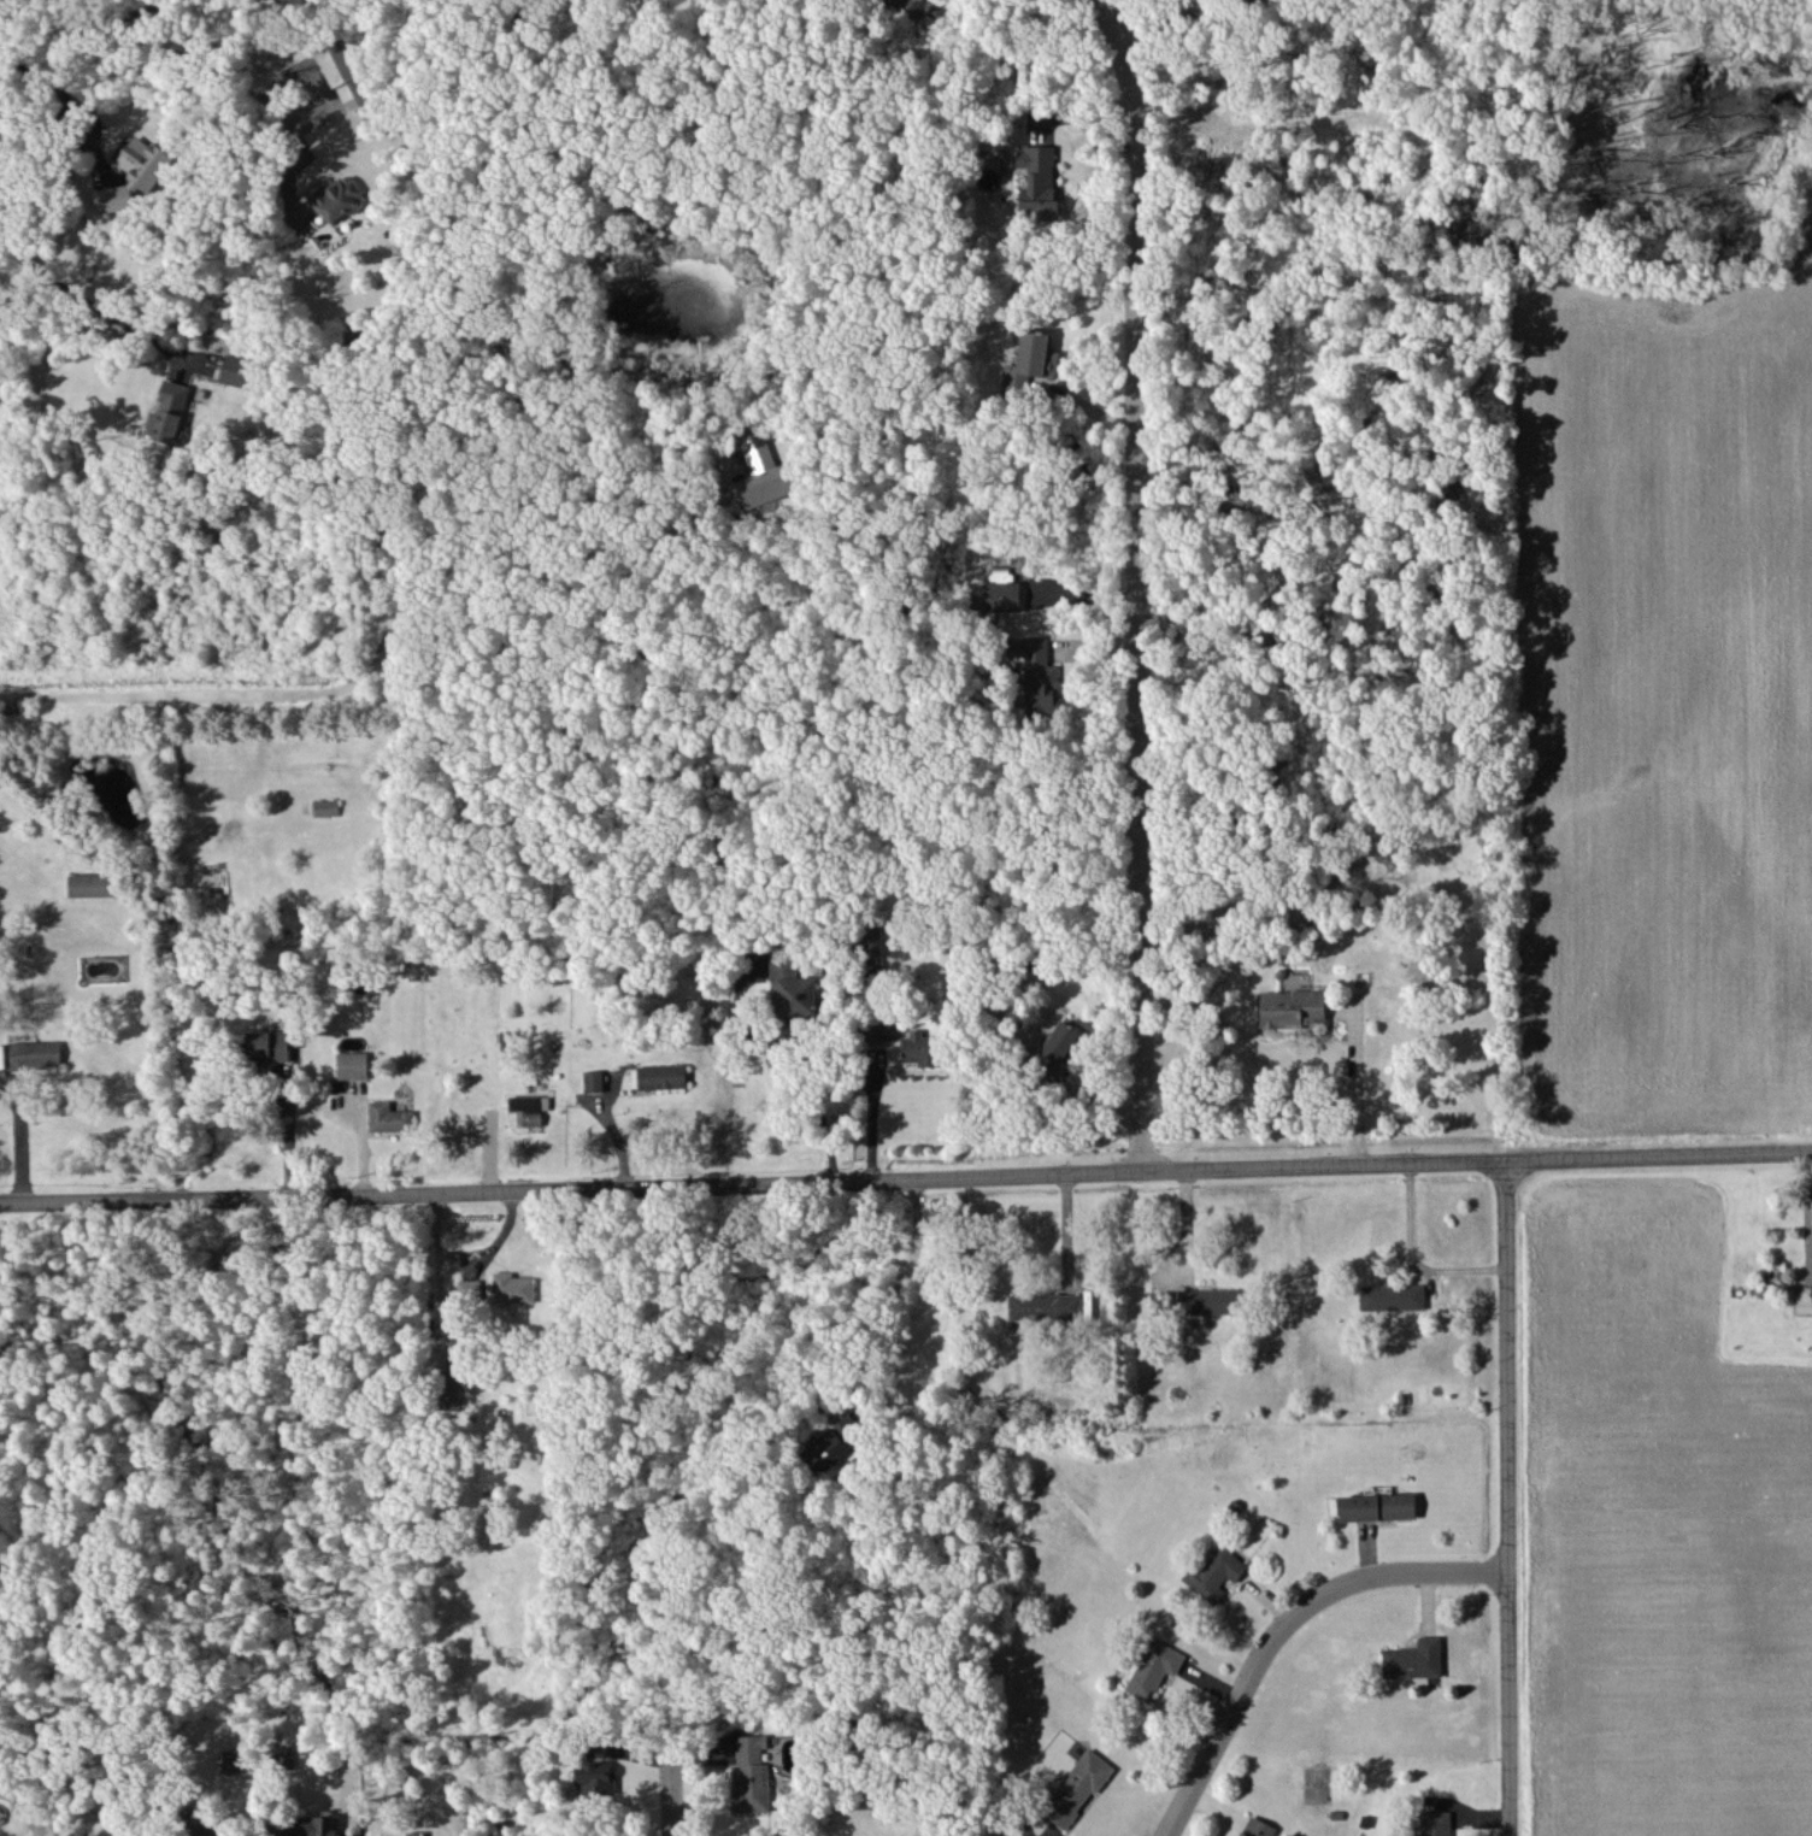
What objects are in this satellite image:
building: (287, 2)
building: (912, 7)
road: (1181, 19)
road: (86, 25)
road: (235, 66)
building: (343, 75)
road: (57, 98)
building: (135, 173)
building: (1037, 182)
building: (337, 198)
road: (86, 306)
building: (1031, 360)
building: (240, 371)
building: (171, 413)
building: (764, 473)
road: (1125, 583)
building: (1002, 596)
building: (1036, 672)
road: (353, 683)
building: (325, 807)
building: (94, 884)
building: (869, 947)
building: (792, 989)
building: (1293, 1007)
building: (878, 1030)
building: (266, 1044)
building: (1058, 1047)
building: (920, 1048)
building: (35, 1054)
road: (804, 1058)
building: (352, 1065)
building: (658, 1076)
building: (594, 1081)
road: (1355, 1084)
building: (529, 1108)
road: (872, 1112)
building: (389, 1117)
road: (906, 1178)
road: (1807, 1202)
road: (1413, 1255)
road: (435, 1267)
building: (512, 1288)
road: (877, 1289)
building: (1392, 1296)
building: (1208, 1301)
building: (1045, 1305)
building: (1804, 1305)
building: (448, 1389)
building: (831, 1447)
road: (1510, 1497)
building: (1377, 1506)
building: (1213, 1573)
road: (1288, 1629)
road: (678, 1630)
building: (1413, 1659)
building: (1153, 1669)
building: (231, 1760)
building: (594, 1777)
building: (1077, 1788)
building: (1435, 1823)
building: (204, 1824)
building: (312, 1825)
building: (1258, 1828)

